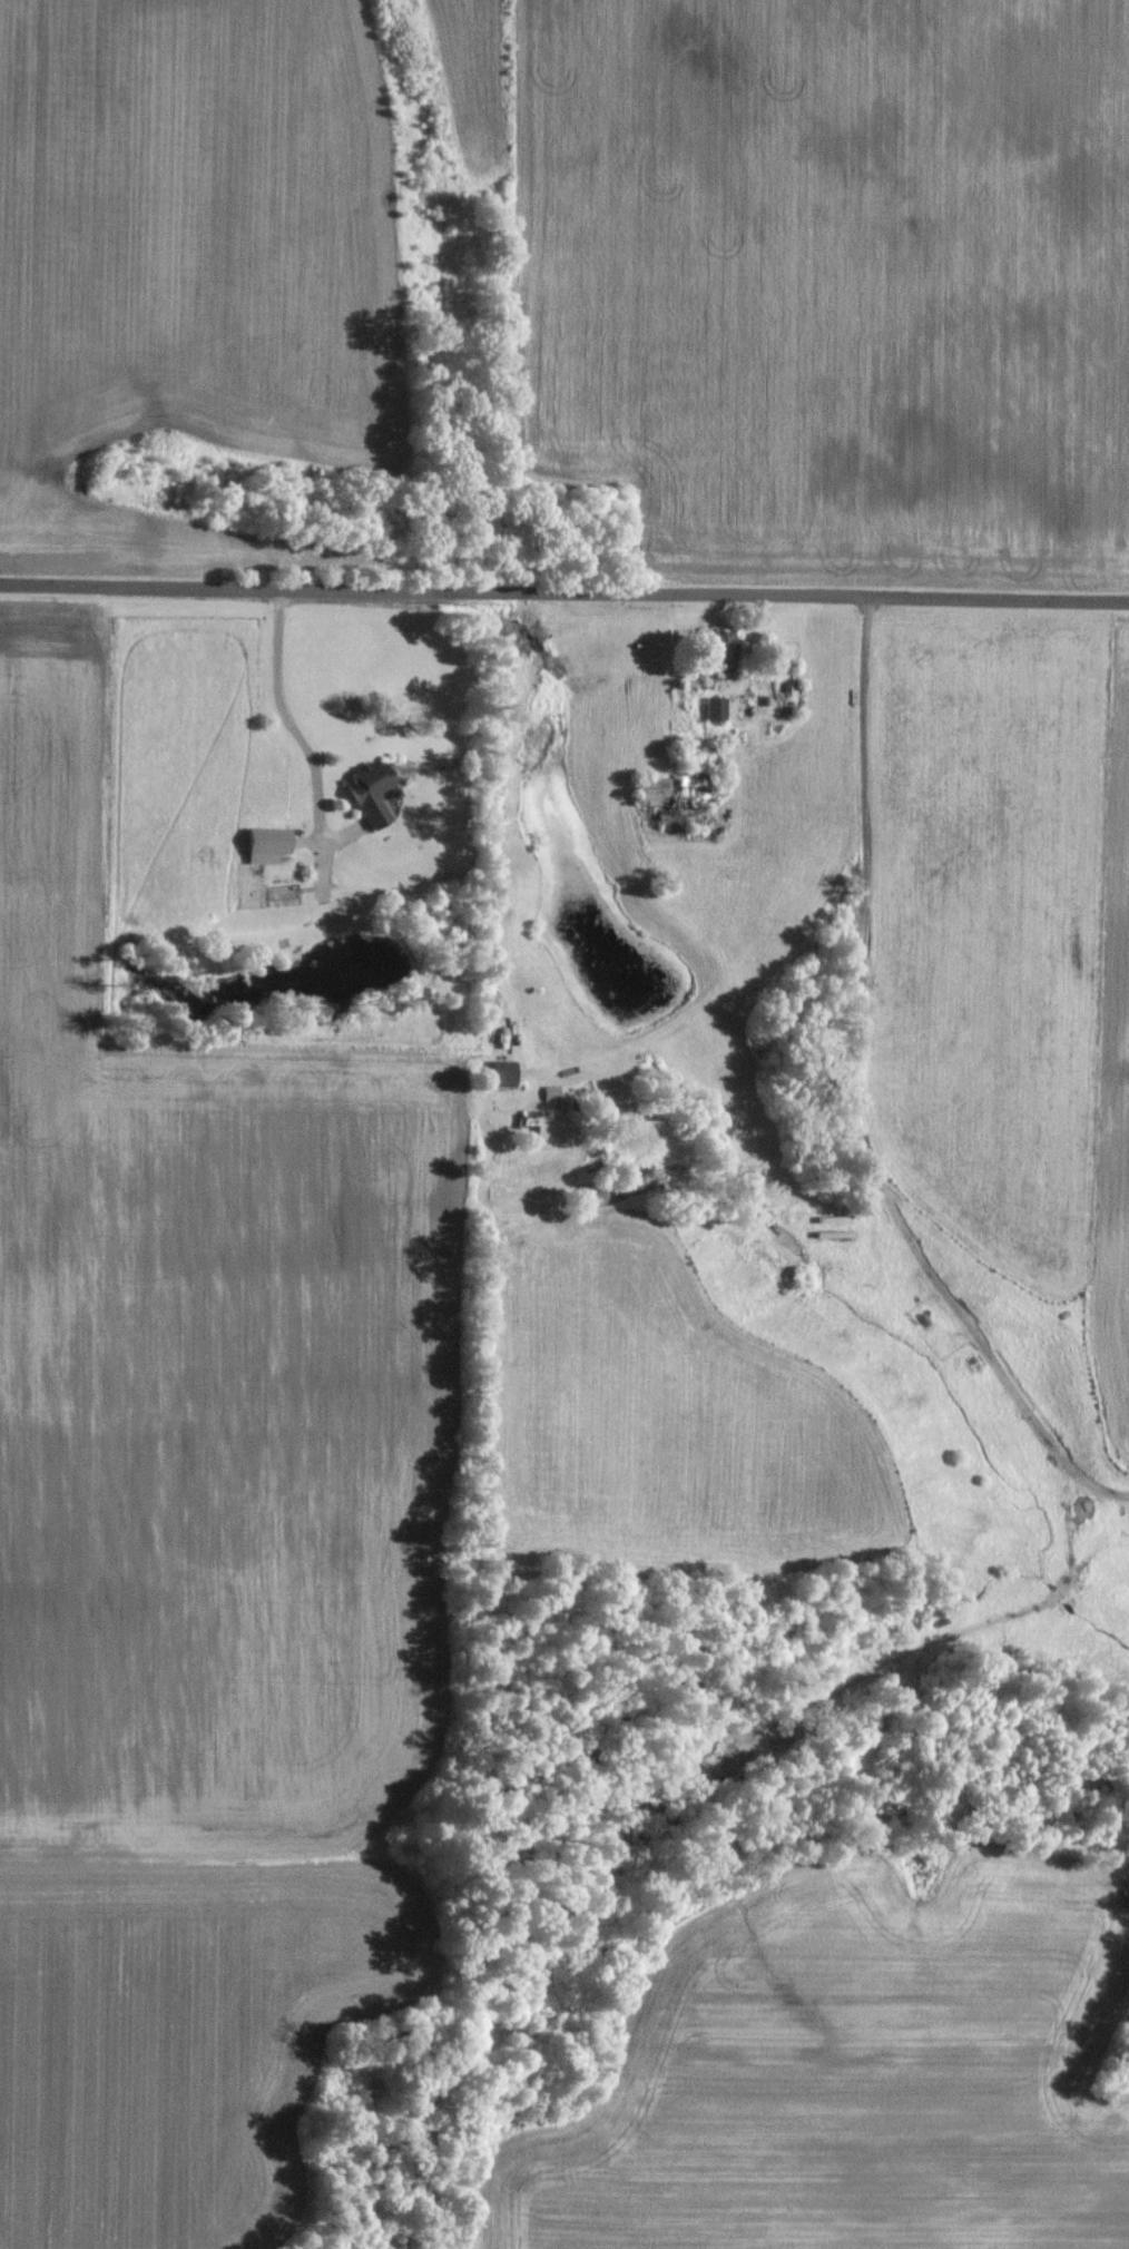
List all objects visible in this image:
road: (563, 595)
building: (718, 648)
building: (714, 707)
road: (278, 718)
building: (369, 790)
road: (495, 793)
building: (264, 842)
building: (500, 1071)

